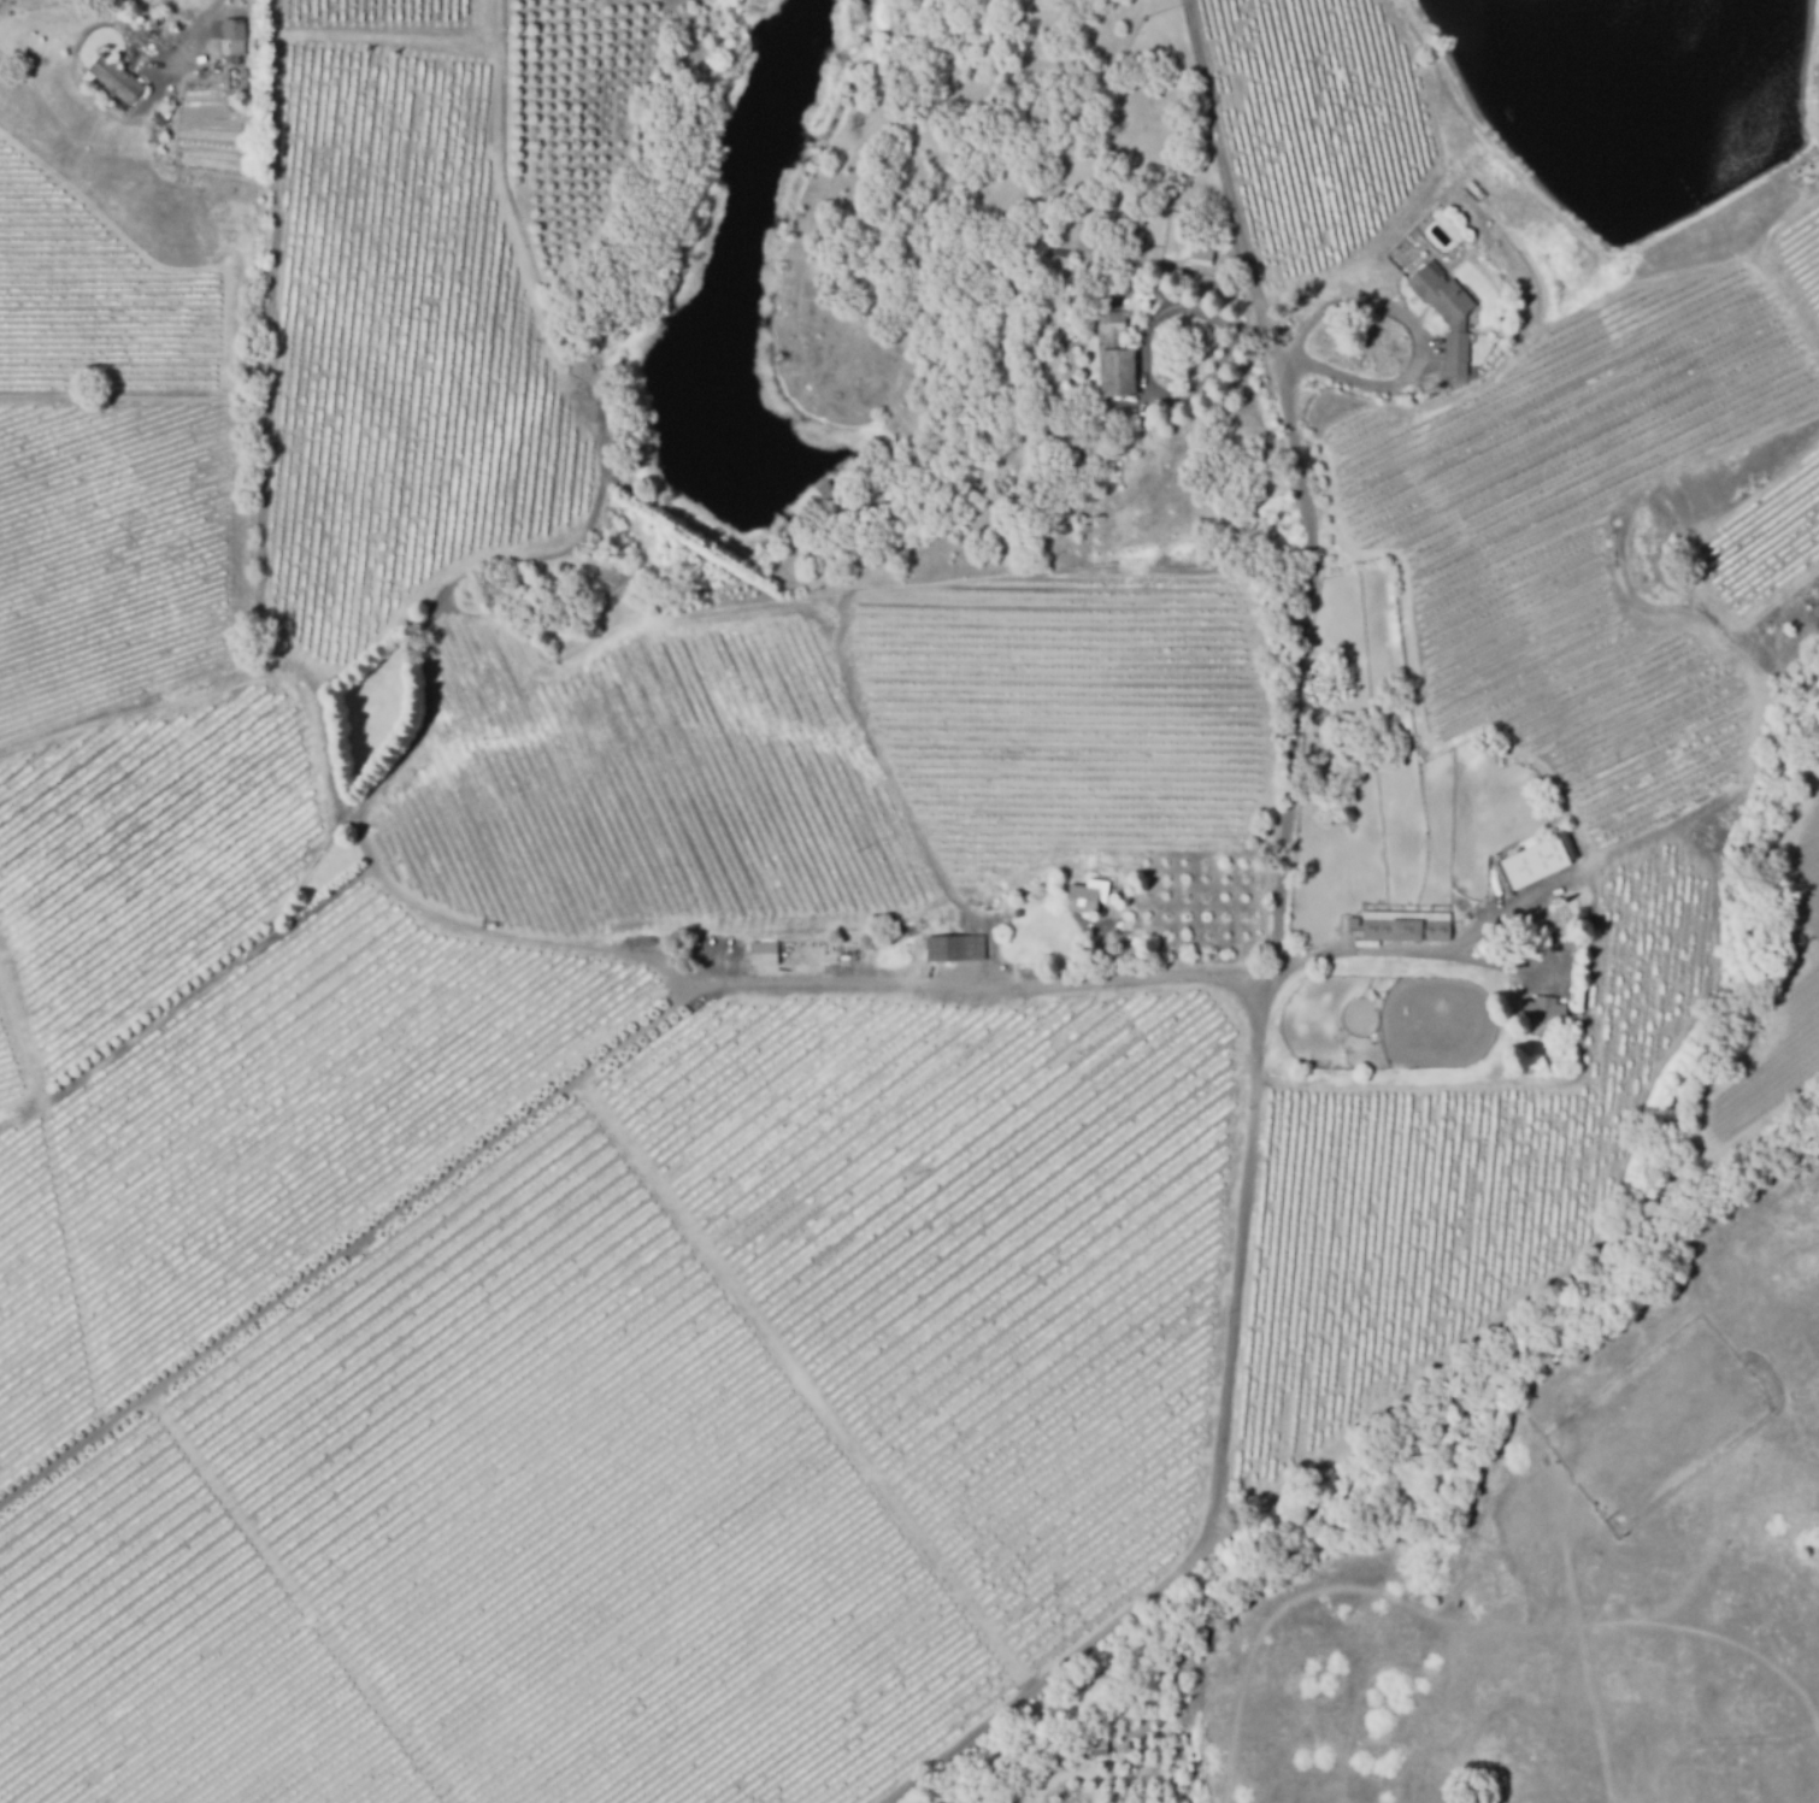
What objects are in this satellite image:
road: (196, 28)
building: (240, 40)
building: (119, 79)
building: (158, 122)
building: (1464, 208)
building: (1205, 257)
building: (1452, 314)
road: (1418, 349)
building: (1117, 353)
road: (1138, 358)
building: (1077, 443)
road: (1296, 479)
building: (824, 494)
building: (1538, 862)
building: (1090, 894)
building: (1022, 912)
building: (1348, 923)
building: (1409, 925)
building: (958, 948)
building: (767, 953)
road: (1490, 965)
building: (1576, 1001)
building: (1547, 1009)
road: (579, 1071)
road: (1226, 1463)
building: (1090, 1745)
road: (1064, 1773)

